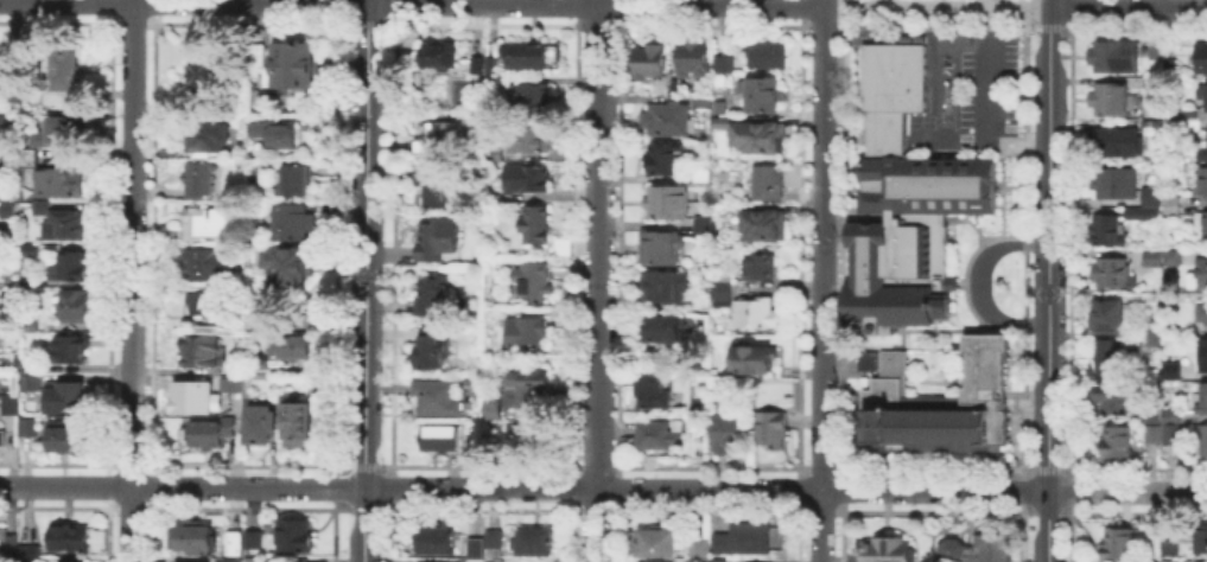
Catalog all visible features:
road: (367, 1)
road: (991, 2)
road: (411, 4)
road: (906, 5)
road: (1019, 6)
road: (1127, 6)
building: (1154, 53)
building: (256, 56)
building: (434, 57)
building: (693, 57)
building: (768, 58)
building: (1114, 58)
building: (526, 59)
building: (1202, 59)
building: (652, 62)
building: (719, 62)
building: (474, 63)
building: (489, 63)
building: (1, 68)
building: (293, 68)
building: (1170, 68)
building: (207, 75)
building: (63, 79)
building: (497, 82)
parking lot: (982, 89)
building: (763, 97)
building: (1202, 97)
building: (532, 100)
road: (991, 102)
building: (1110, 102)
building: (704, 103)
building: (723, 110)
building: (669, 121)
building: (1192, 122)
building: (720, 124)
building: (1, 126)
building: (1152, 128)
building: (61, 133)
building: (275, 133)
building: (531, 135)
building: (207, 136)
building: (758, 138)
building: (439, 140)
building: (1114, 141)
building: (494, 152)
building: (1203, 157)
building: (21, 160)
building: (663, 160)
building: (248, 165)
building: (526, 175)
building: (701, 177)
building: (199, 181)
building: (298, 181)
building: (0, 183)
building: (434, 184)
building: (767, 184)
building: (1203, 184)
building: (61, 185)
building: (1113, 185)
building: (491, 192)
building: (1151, 199)
building: (671, 203)
building: (902, 204)
building: (38, 205)
building: (1171, 205)
building: (7, 210)
building: (1144, 216)
building: (534, 223)
building: (63, 224)
building: (205, 224)
building: (296, 224)
building: (704, 225)
building: (766, 228)
building: (1206, 228)
building: (1111, 232)
building: (440, 240)
building: (559, 244)
road: (366, 245)
building: (33, 250)
building: (662, 250)
building: (1152, 258)
building: (1174, 258)
building: (208, 266)
building: (760, 266)
building: (290, 267)
building: (72, 269)
building: (1112, 274)
building: (1201, 275)
building: (723, 279)
road: (821, 280)
road: (1048, 280)
road: (132, 281)
road: (597, 281)
road: (978, 282)
building: (538, 285)
building: (663, 289)
building: (436, 296)
building: (724, 296)
building: (12, 306)
building: (78, 308)
building: (209, 308)
building: (1203, 314)
building: (757, 317)
building: (1107, 320)
building: (261, 321)
building: (34, 327)
building: (1154, 331)
building: (667, 332)
building: (531, 336)
building: (292, 349)
building: (431, 350)
building: (71, 351)
building: (202, 355)
building: (1203, 357)
building: (865, 359)
building: (1114, 359)
building: (754, 362)
building: (261, 364)
building: (31, 365)
building: (237, 368)
building: (1173, 371)
building: (32, 383)
building: (230, 390)
building: (531, 390)
building: (654, 394)
building: (66, 400)
building: (439, 400)
building: (938, 401)
building: (1110, 401)
building: (1202, 402)
building: (12, 408)
building: (493, 411)
road: (1196, 417)
building: (24, 424)
building: (262, 427)
building: (297, 427)
building: (1163, 428)
building: (774, 429)
building: (729, 434)
building: (208, 435)
building: (659, 436)
building: (4, 440)
building: (65, 441)
building: (443, 441)
building: (522, 441)
building: (1119, 443)
building: (1205, 443)
road: (182, 487)
road: (786, 488)
road: (363, 525)
building: (296, 536)
building: (741, 536)
building: (72, 539)
building: (193, 539)
building: (653, 539)
building: (1199, 539)
building: (255, 541)
building: (496, 541)
building: (1114, 541)
building: (439, 542)
building: (535, 543)
building: (1165, 543)
building: (234, 547)
building: (697, 547)
building: (478, 548)
building: (972, 549)
building: (23, 551)
building: (891, 551)
building: (228, 560)
building: (491, 560)
building: (716, 560)
building: (1149, 560)
building: (68, 561)
building: (176, 561)
building: (254, 561)
building: (285, 561)
building: (654, 561)

